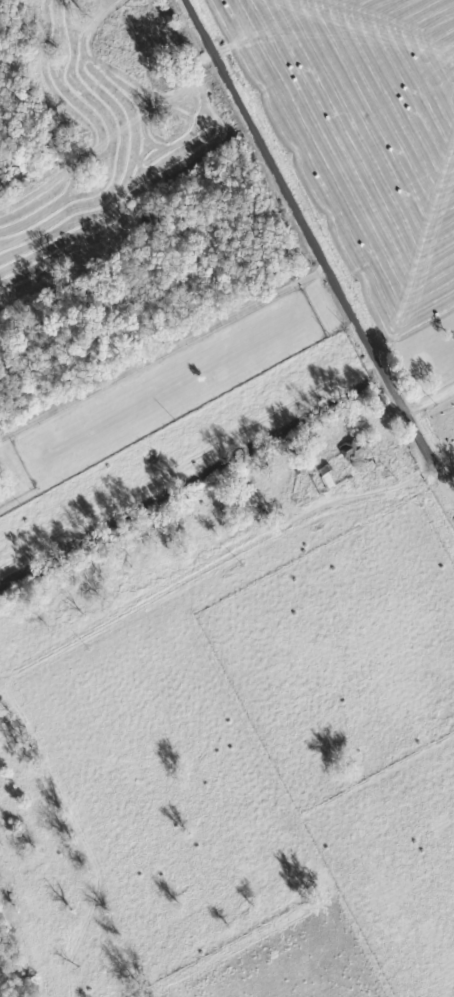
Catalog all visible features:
road: (306, 236)
road: (161, 354)
road: (432, 406)
road: (213, 561)

